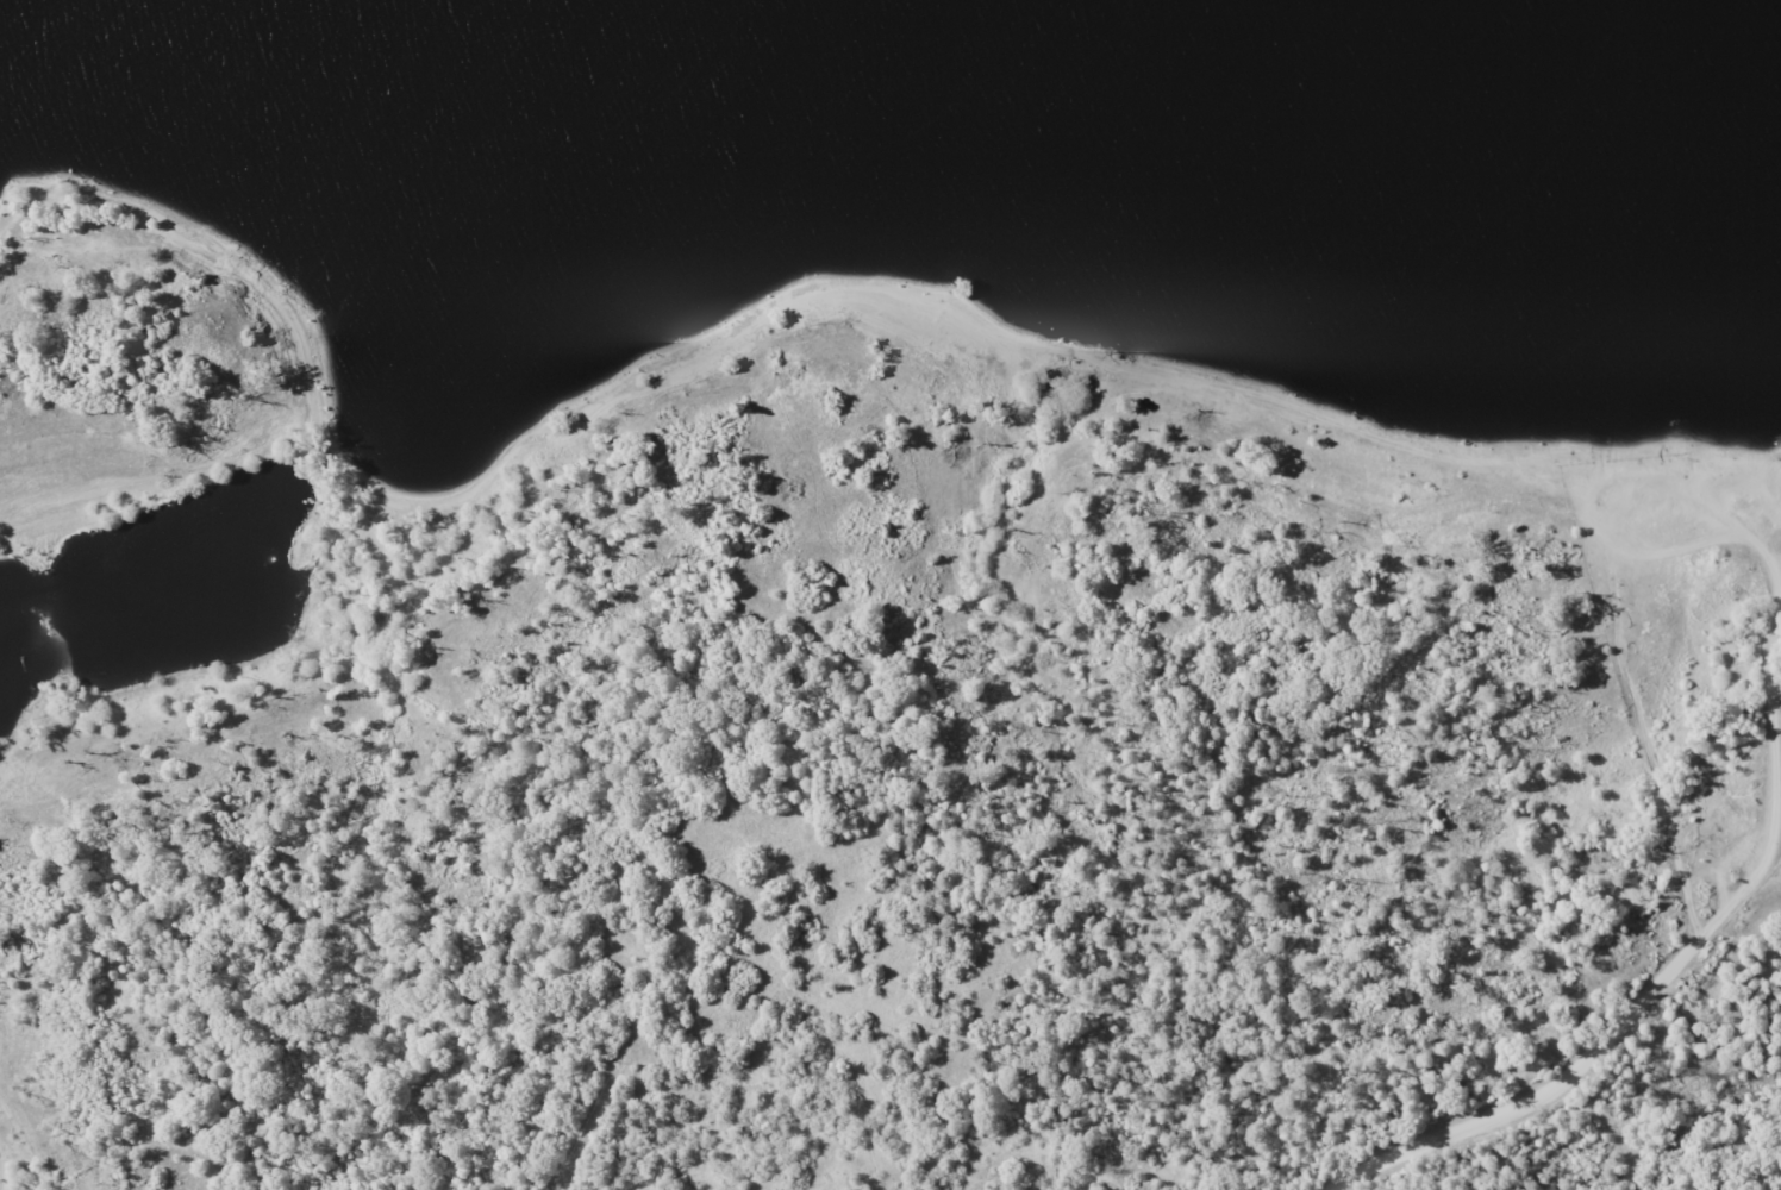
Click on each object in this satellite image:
road: (1736, 470)
road: (1595, 500)
road: (1766, 551)
road: (1643, 752)
road: (1749, 891)
road: (1548, 1095)

